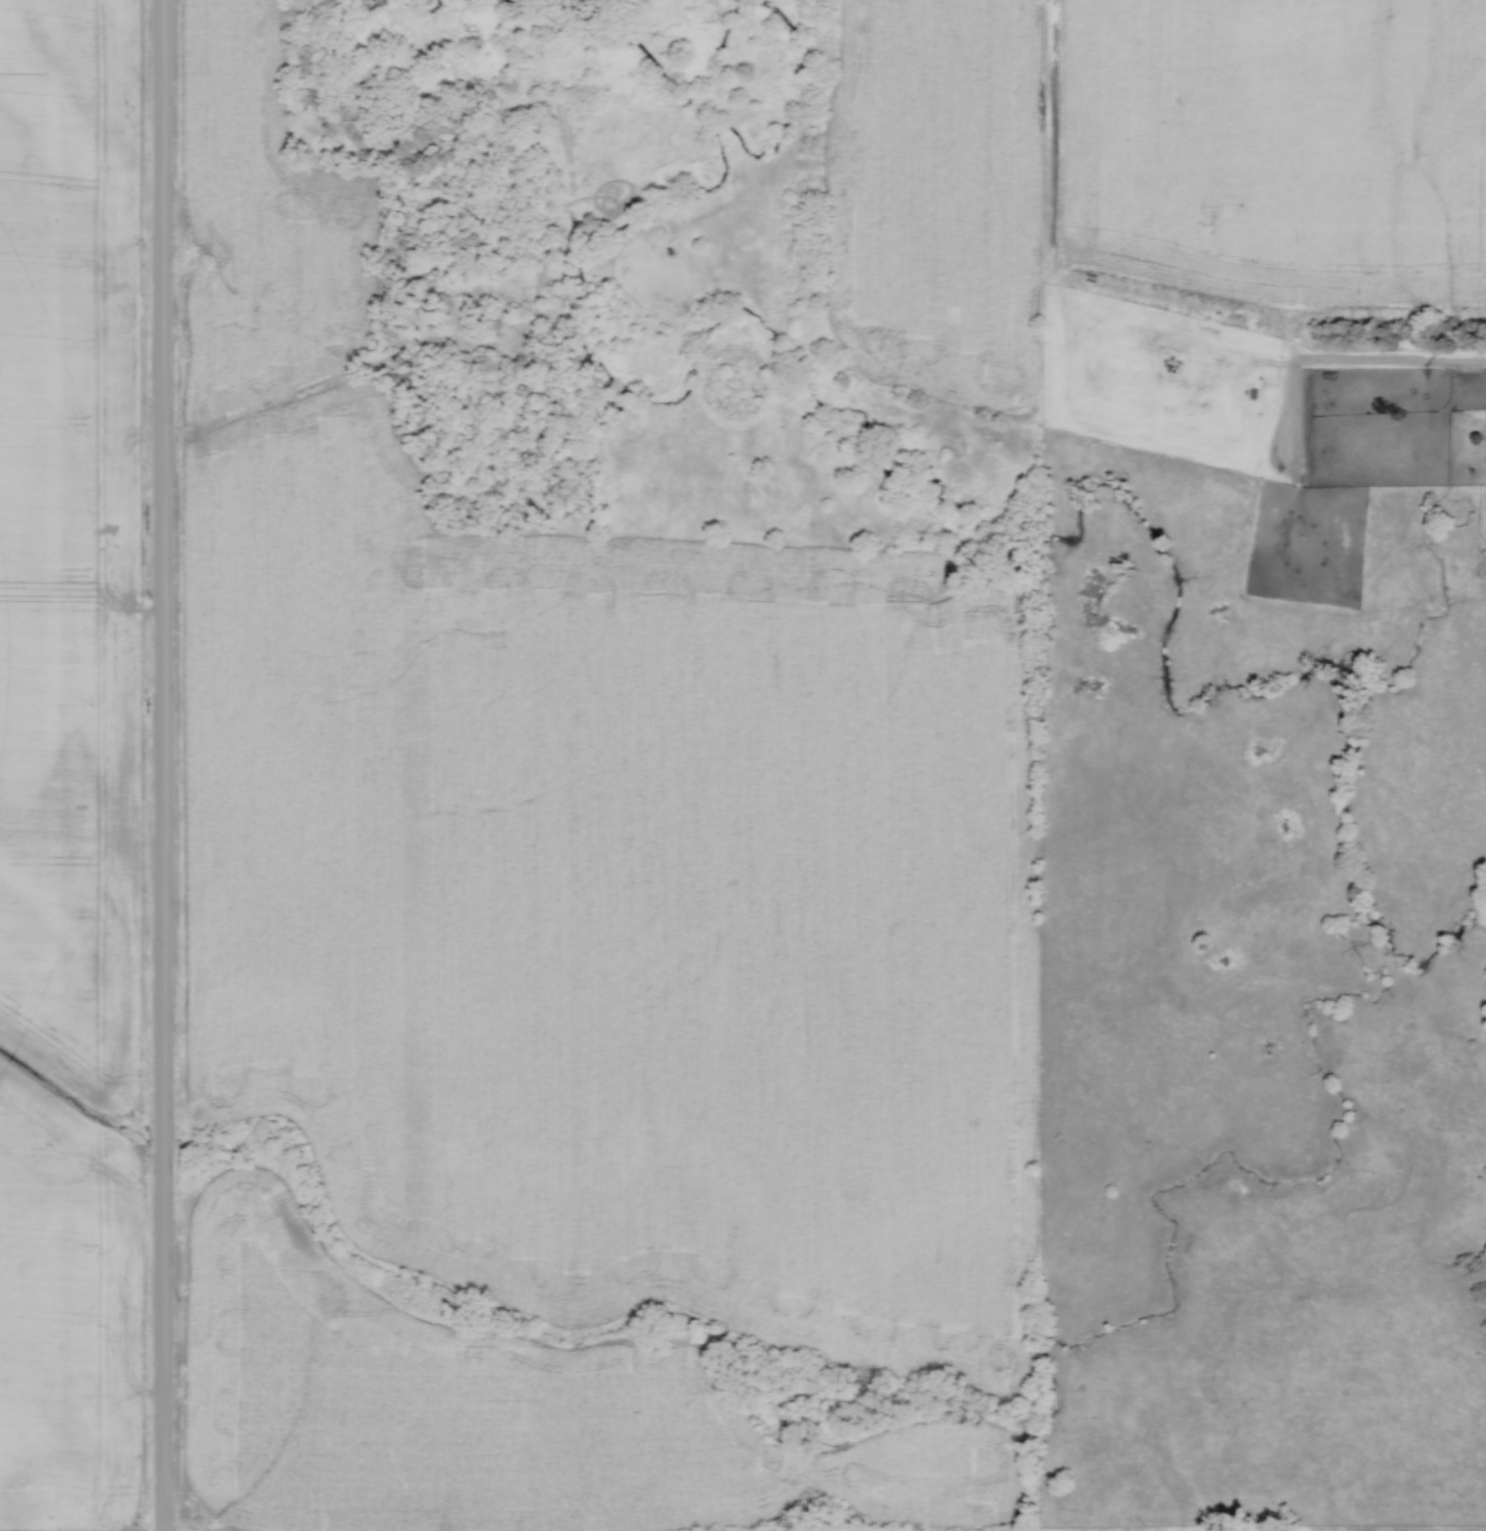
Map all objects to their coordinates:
building: (1347, 469)
road: (162, 765)

